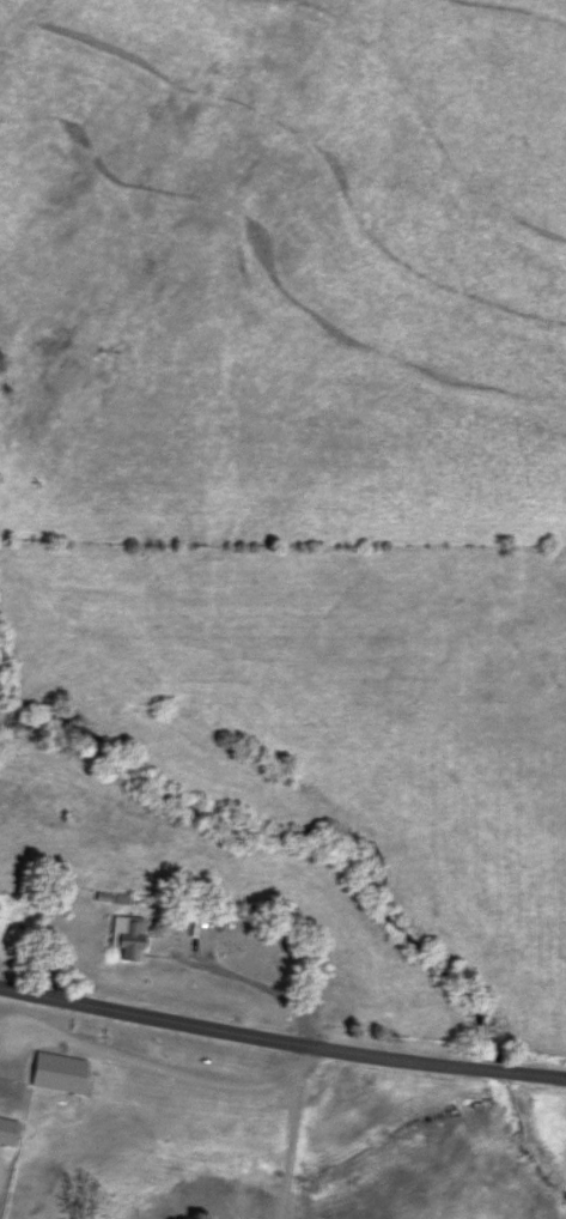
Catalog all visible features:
building: (127, 936)
road: (281, 1041)
building: (60, 1073)
building: (8, 1132)

